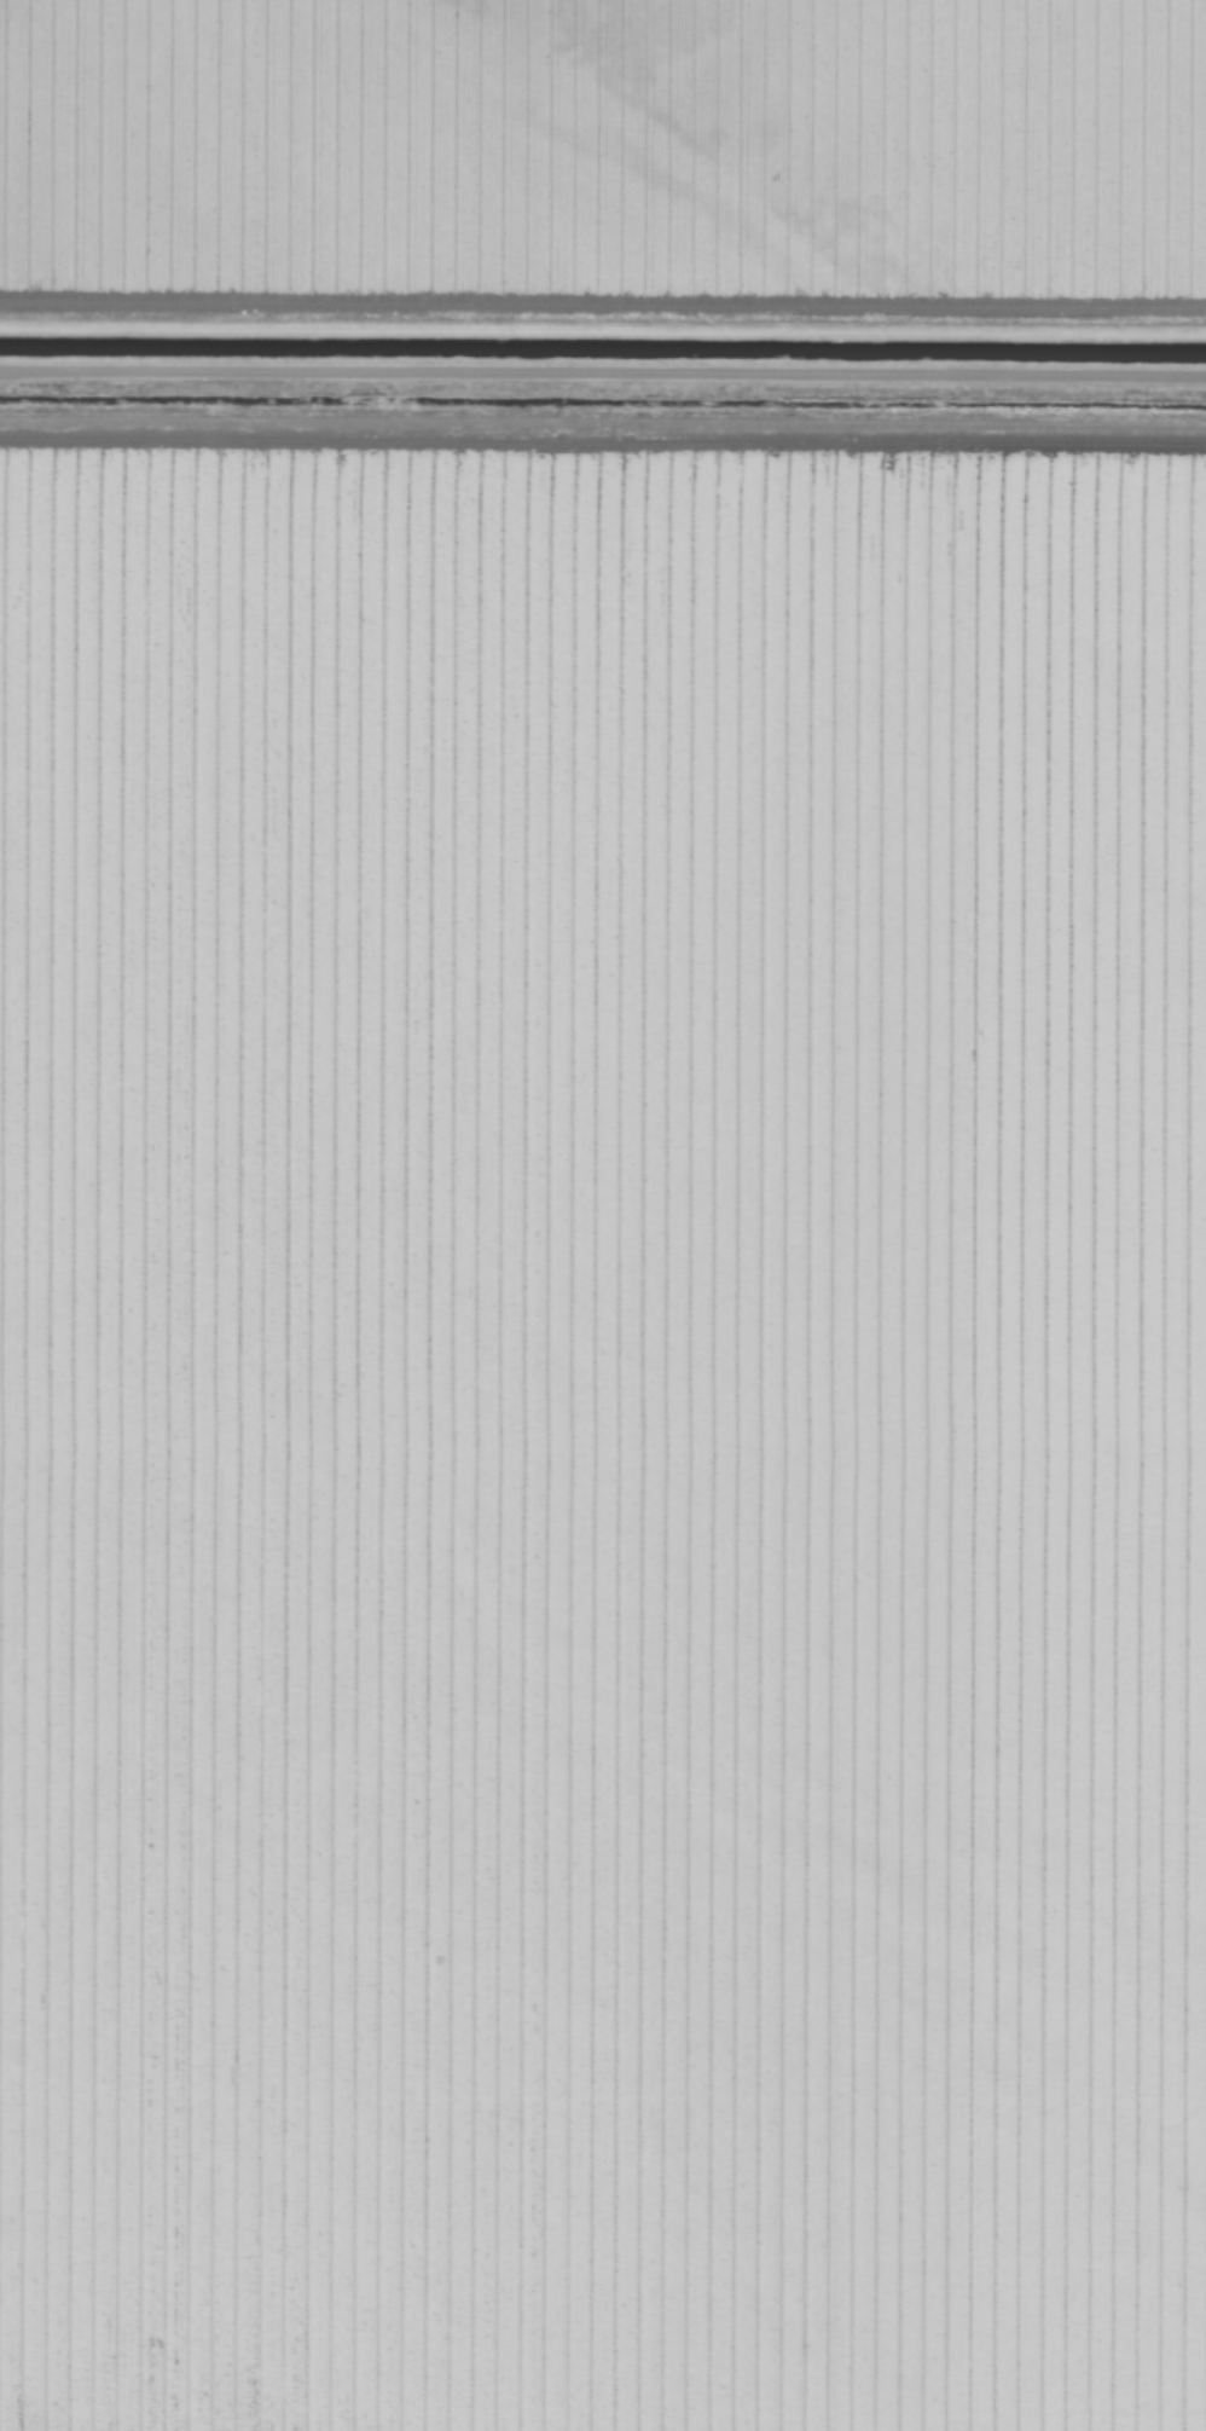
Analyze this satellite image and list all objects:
road: (603, 397)

